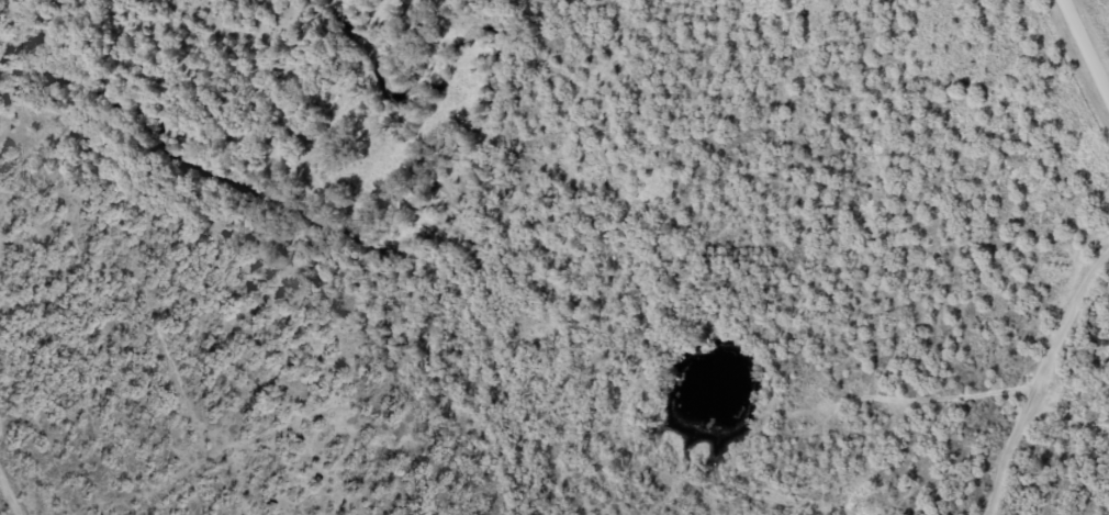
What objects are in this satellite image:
road: (1095, 21)
road: (51, 411)
road: (1071, 417)

